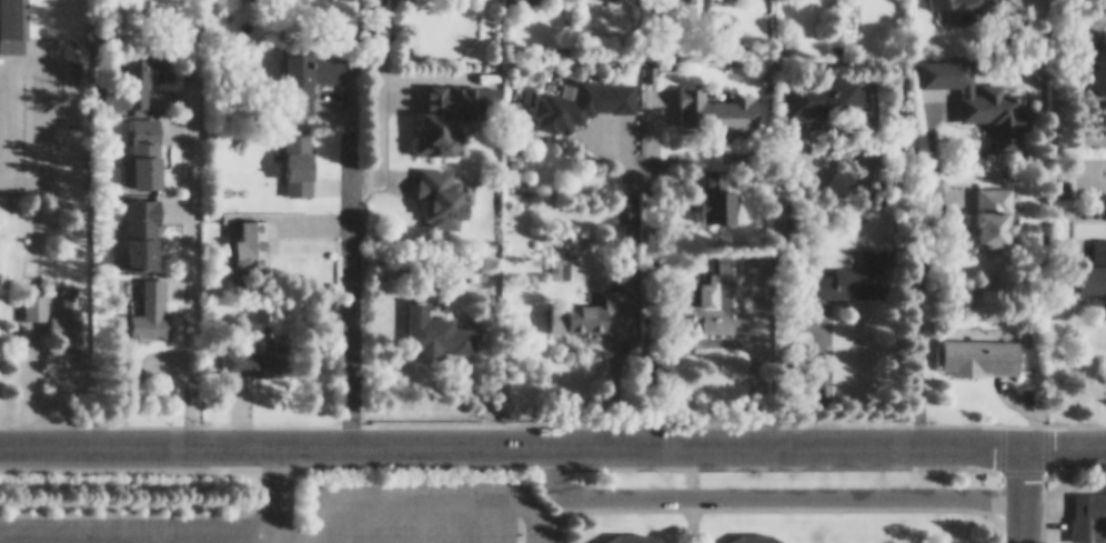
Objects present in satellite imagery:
building: (931, 0)
building: (968, 4)
building: (720, 8)
building: (13, 21)
building: (142, 67)
building: (310, 68)
road: (373, 84)
building: (822, 91)
building: (582, 93)
building: (714, 102)
building: (996, 105)
building: (435, 110)
building: (147, 142)
building: (299, 154)
road: (360, 169)
building: (839, 171)
building: (716, 185)
building: (442, 188)
building: (995, 207)
building: (142, 224)
building: (251, 234)
road: (776, 251)
building: (1095, 260)
road: (189, 263)
building: (855, 268)
road: (346, 281)
building: (721, 289)
building: (34, 302)
building: (151, 302)
building: (590, 302)
building: (66, 315)
building: (433, 321)
road: (916, 332)
building: (981, 345)
building: (254, 351)
road: (553, 439)
road: (767, 485)
road: (451, 489)
road: (1019, 490)
road: (269, 491)
building: (1088, 506)
parking lot: (298, 513)
road: (324, 515)
building: (629, 534)
building: (753, 534)
building: (1083, 540)

